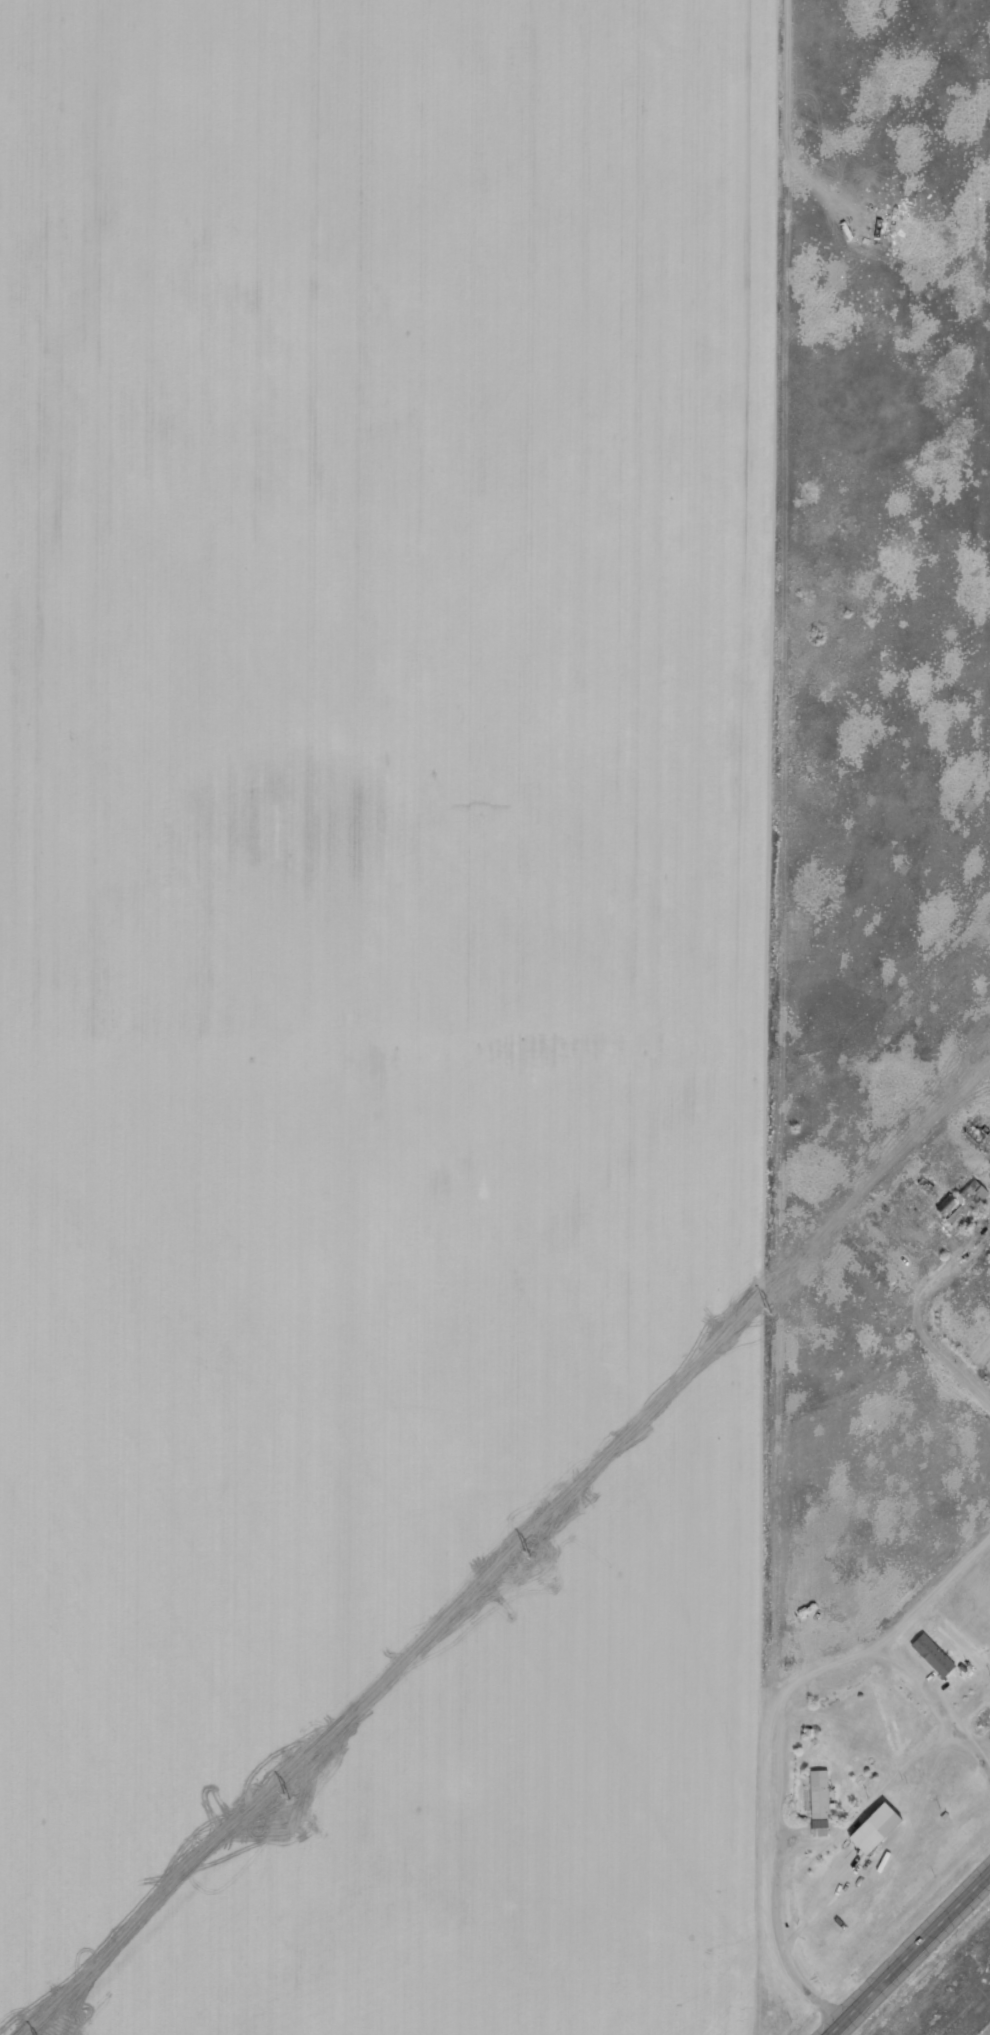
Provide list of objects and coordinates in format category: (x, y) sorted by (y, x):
road: (887, 345)
road: (888, 1009)
road: (787, 1017)
power tower: (765, 1310)
road: (885, 1336)
road: (948, 1354)
power tower: (525, 1553)
road: (893, 1636)
building: (932, 1654)
building: (821, 1794)
power tower: (284, 1795)
building: (872, 1827)
road: (911, 1956)

